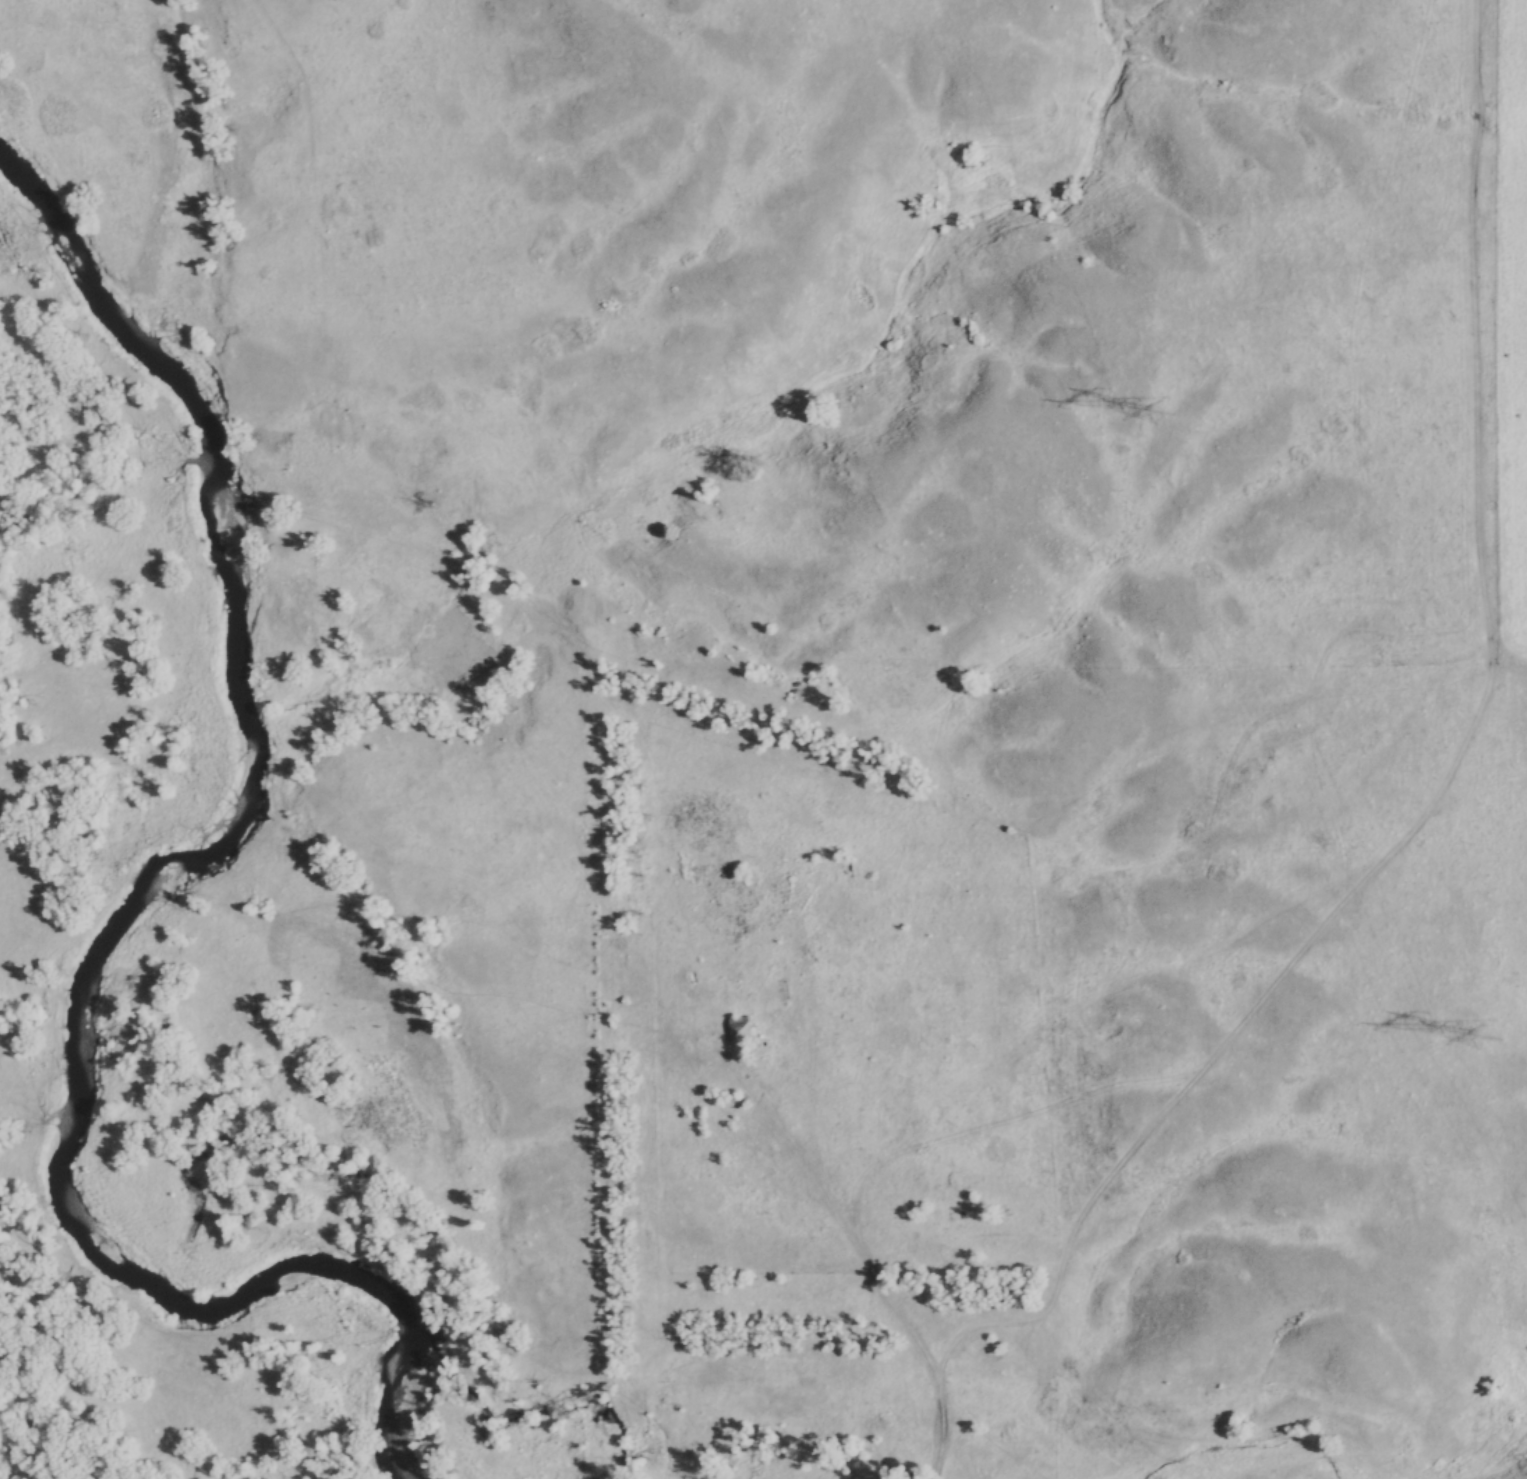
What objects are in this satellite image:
power tower: (1157, 409)
river: (124, 888)
building: (740, 1029)
power tower: (1478, 1035)

